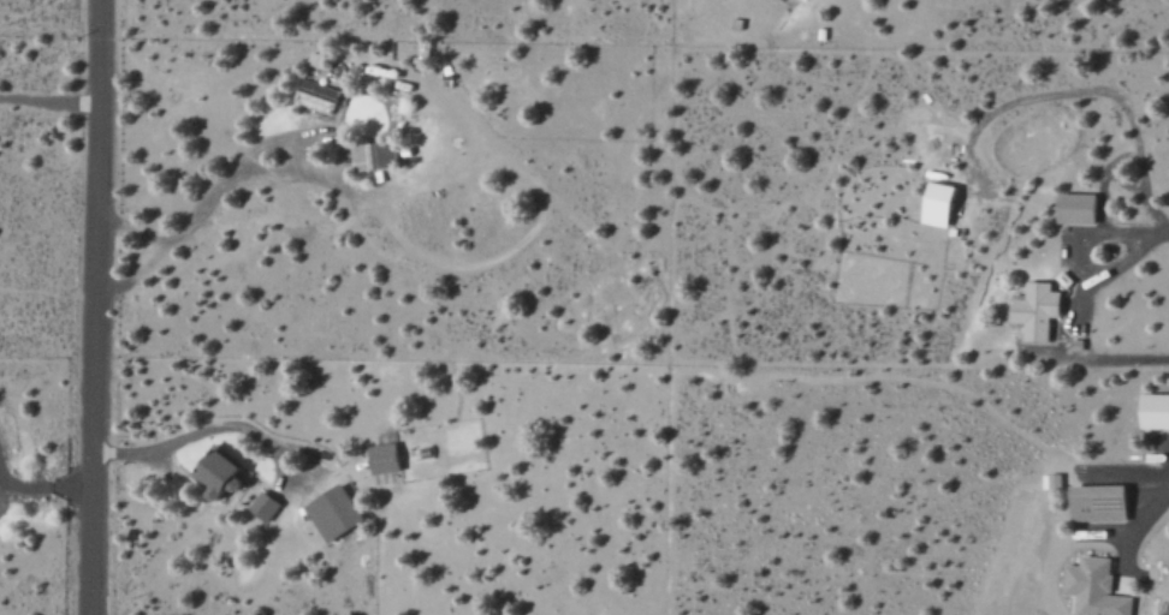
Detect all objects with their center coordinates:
building: (447, 76)
building: (315, 95)
building: (375, 155)
building: (940, 204)
building: (1081, 208)
road: (94, 306)
building: (1036, 309)
building: (1156, 411)
building: (384, 458)
building: (220, 472)
building: (1051, 482)
building: (1099, 503)
building: (263, 504)
building: (334, 513)
building: (1094, 587)

